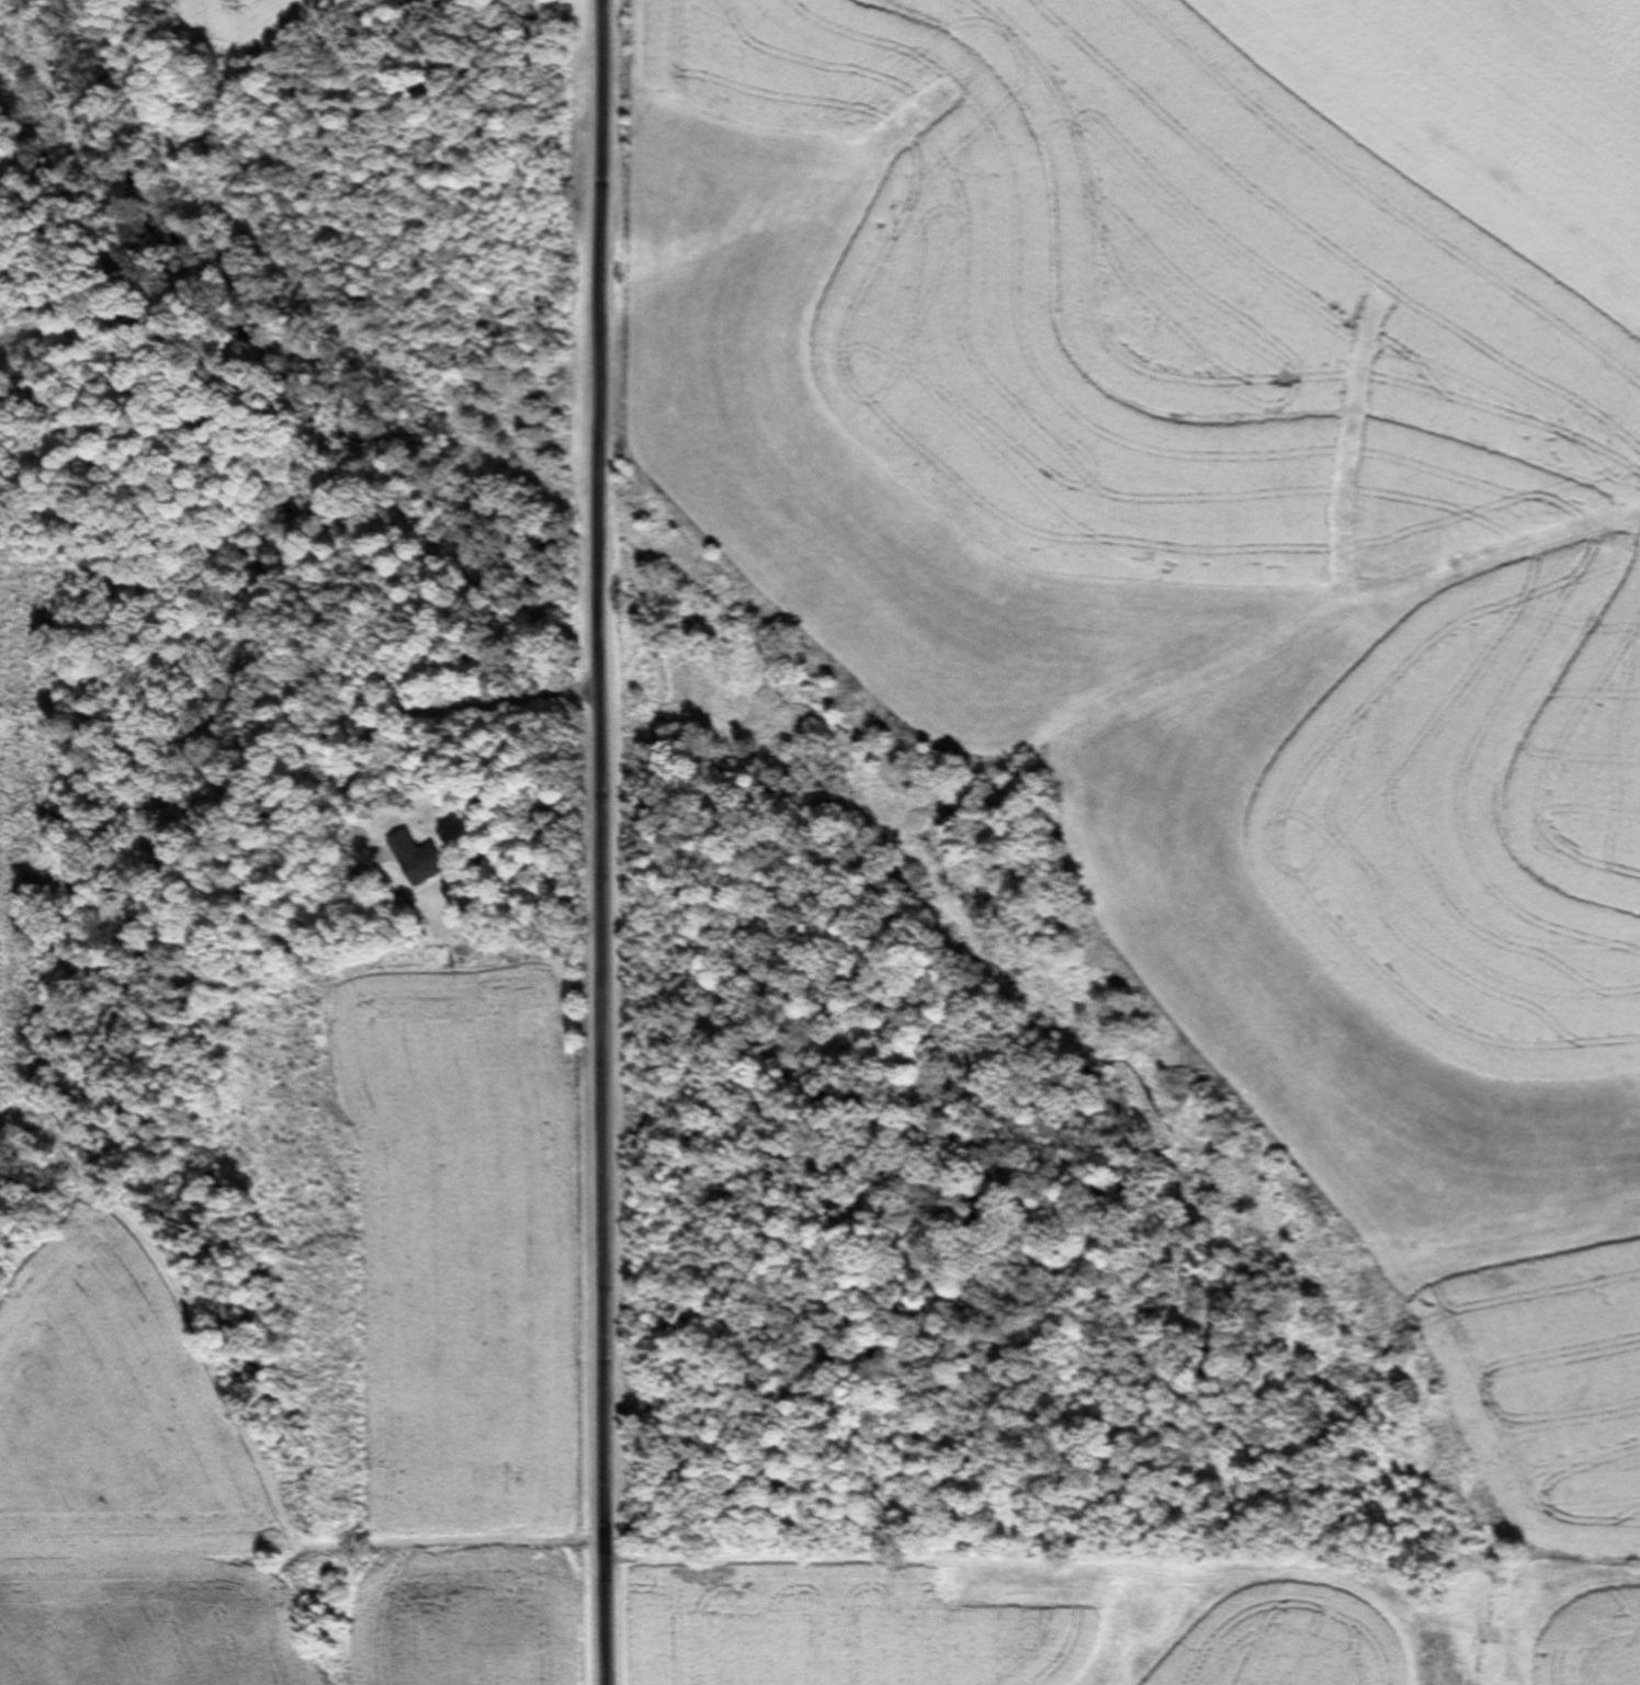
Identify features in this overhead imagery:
road: (423, 711)
road: (608, 841)
building: (420, 859)

